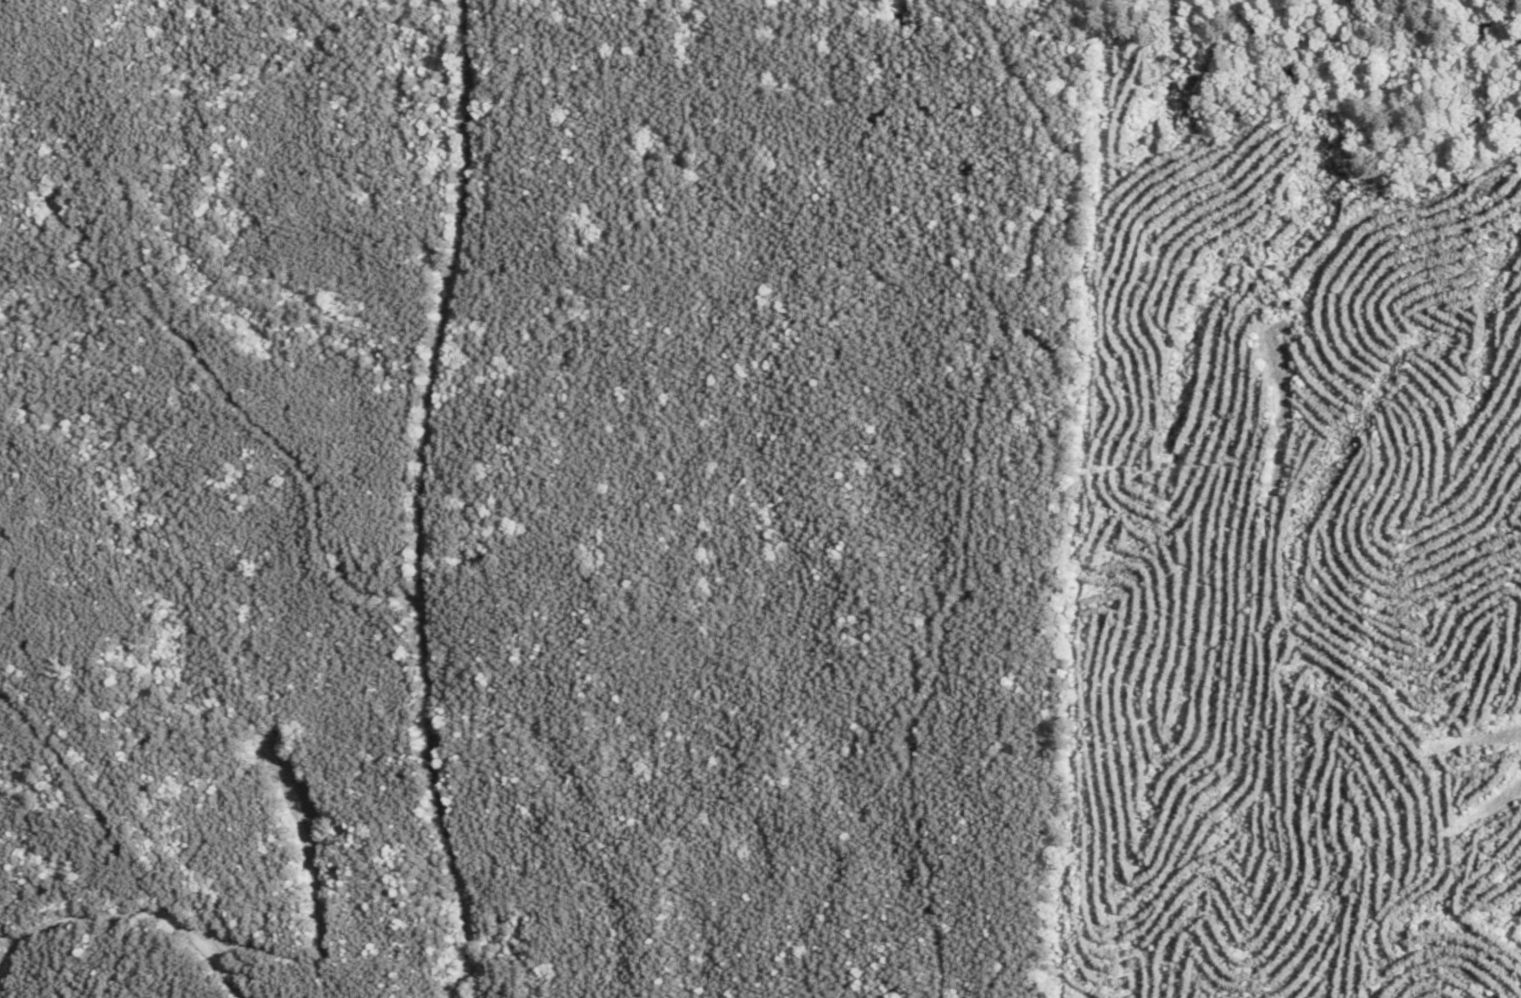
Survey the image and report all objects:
road: (431, 500)
road: (151, 922)

